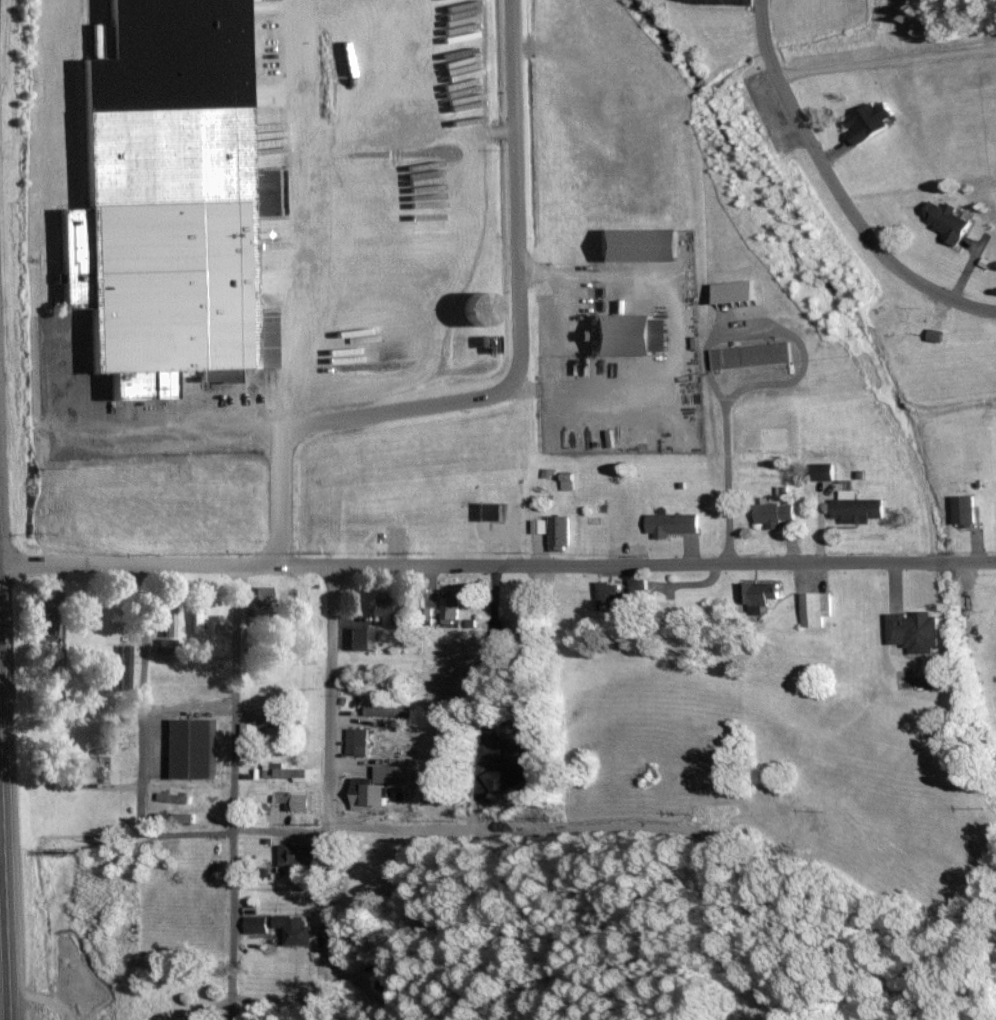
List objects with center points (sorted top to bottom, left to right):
road: (886, 59)
building: (871, 120)
road: (837, 190)
building: (168, 200)
building: (949, 221)
building: (483, 309)
park: (893, 315)
building: (634, 335)
building: (493, 345)
park: (931, 347)
building: (754, 356)
road: (516, 370)
building: (825, 472)
building: (858, 509)
building: (490, 510)
building: (966, 511)
building: (775, 514)
building: (675, 523)
building: (561, 532)
road: (167, 562)
road: (665, 563)
building: (262, 592)
building: (624, 594)
building: (760, 594)
building: (451, 608)
building: (815, 608)
building: (390, 609)
building: (196, 614)
building: (45, 623)
building: (167, 625)
building: (916, 630)
building: (360, 638)
road: (236, 696)
road: (144, 697)
building: (388, 711)
road: (190, 713)
building: (285, 720)
building: (252, 731)
building: (358, 741)
building: (199, 747)
building: (517, 750)
building: (97, 765)
building: (287, 771)
building: (384, 785)
road: (328, 792)
building: (296, 801)
road: (612, 822)
road: (238, 828)
building: (295, 859)
road: (4, 900)
road: (233, 914)
building: (258, 924)
building: (298, 929)
road: (279, 999)
road: (233, 1009)

